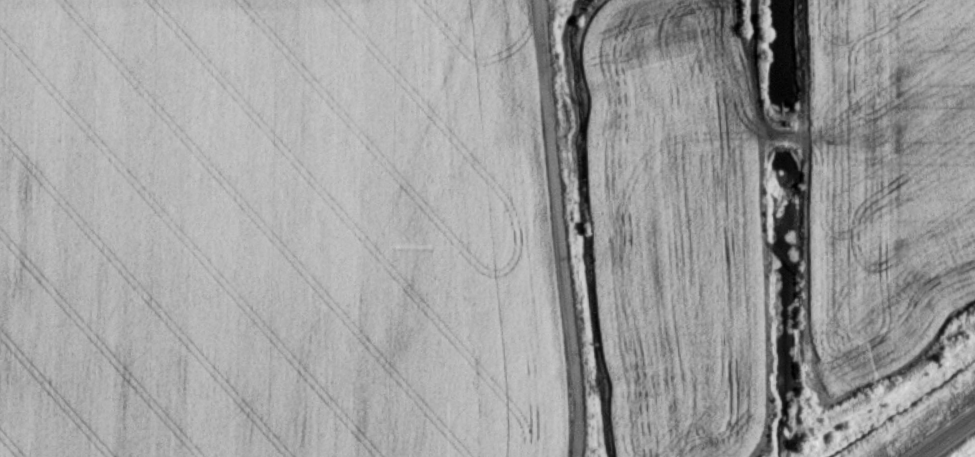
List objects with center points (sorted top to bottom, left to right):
road: (733, 4)
road: (560, 228)
road: (970, 454)

